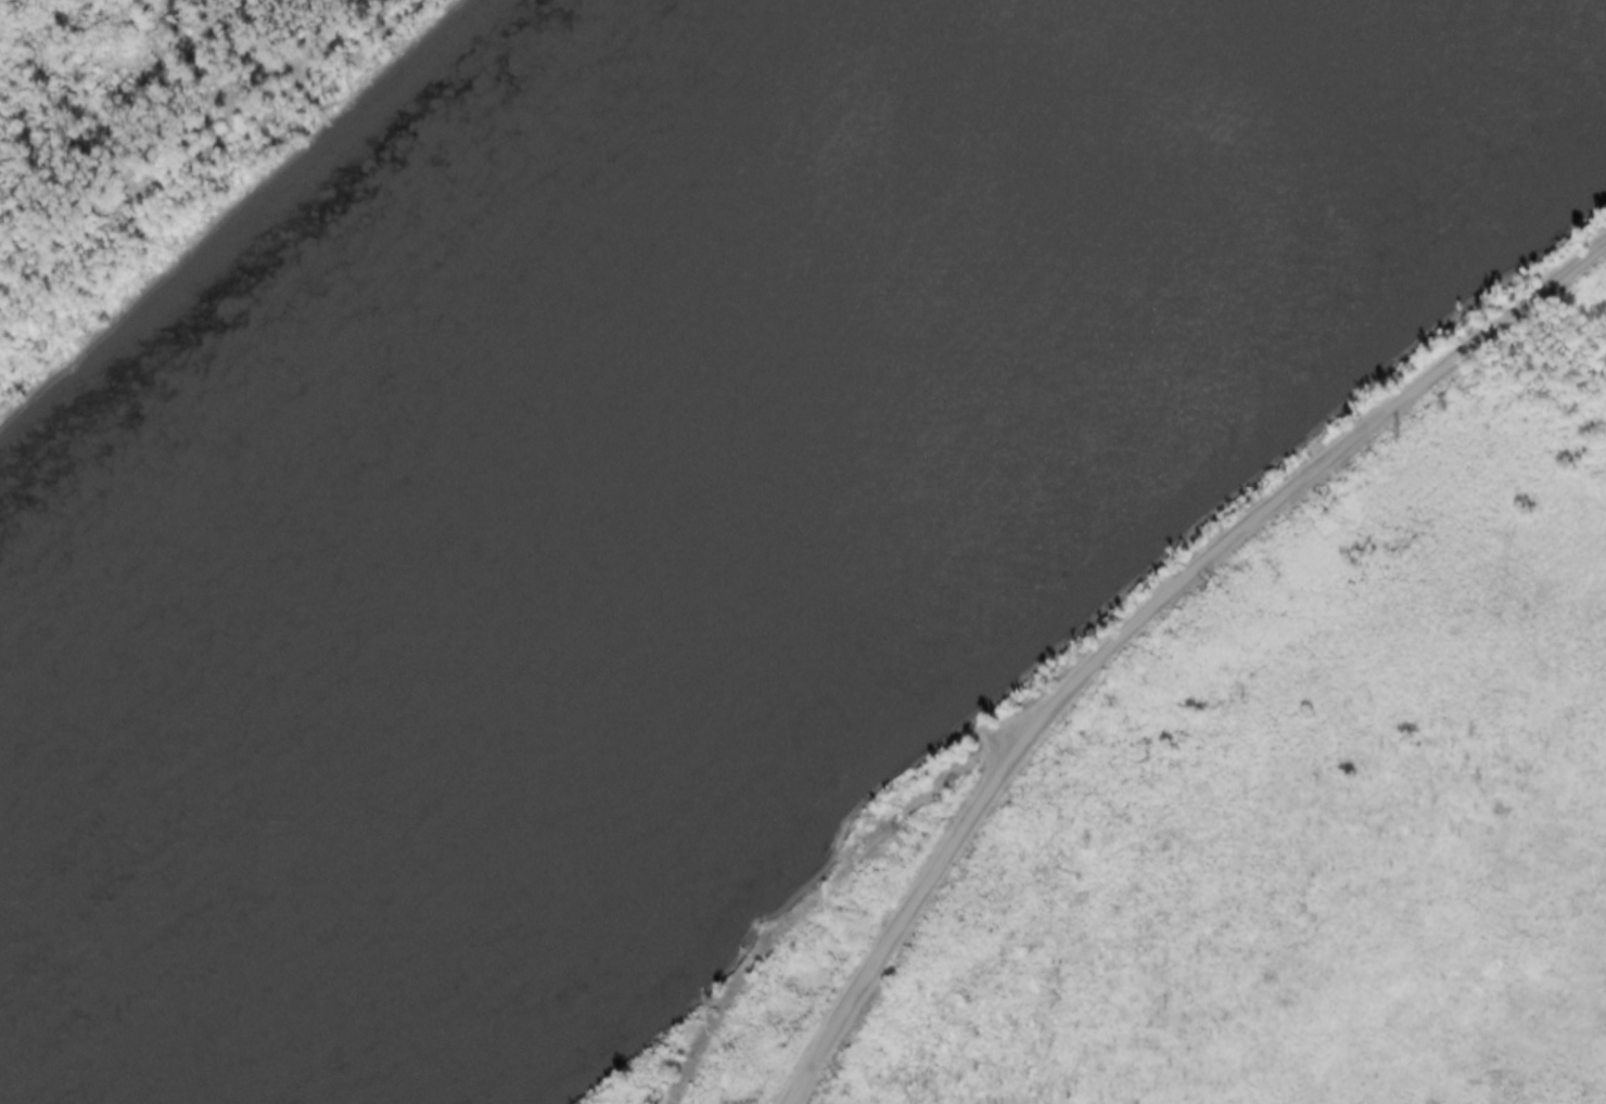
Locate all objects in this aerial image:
river: (418, 360)
road: (1136, 618)
road: (819, 883)

